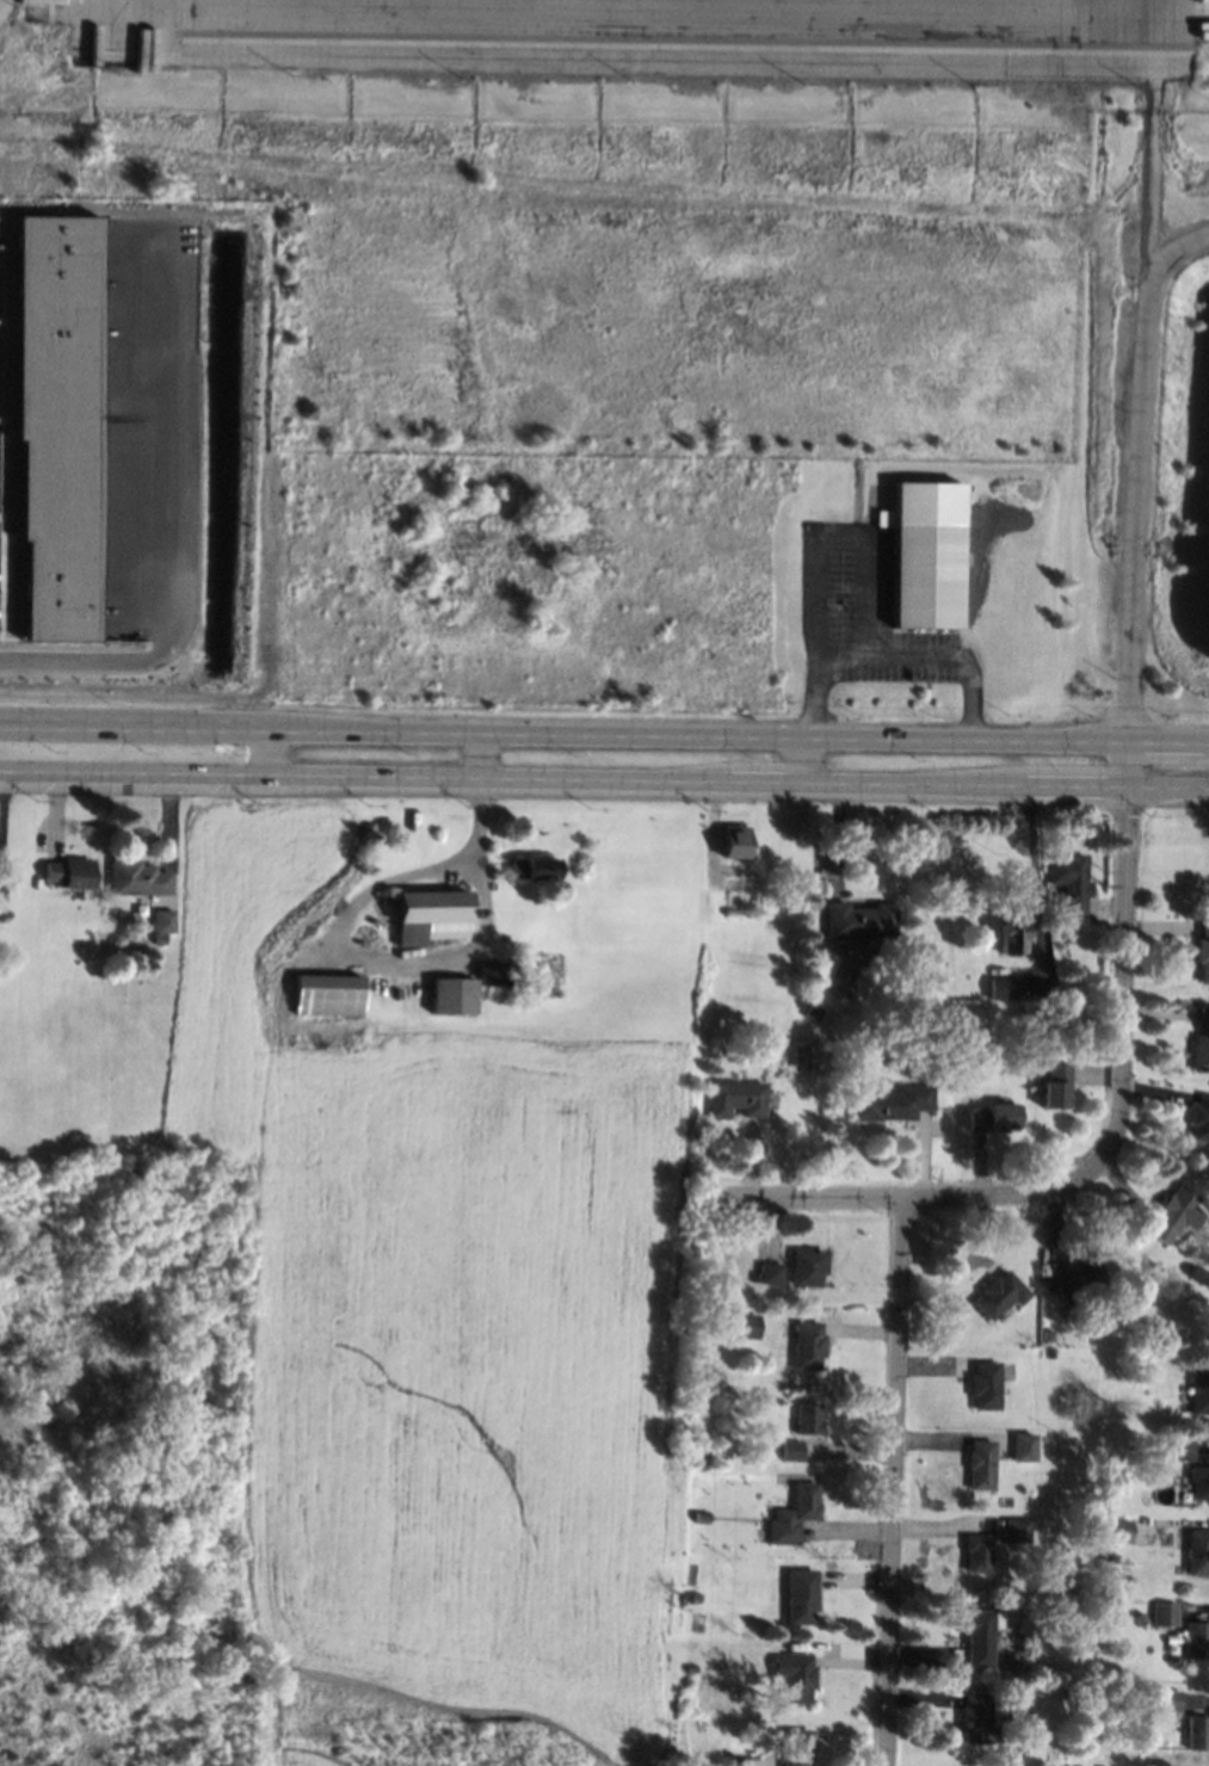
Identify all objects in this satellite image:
building: (60, 12)
road: (1164, 257)
road: (1134, 368)
building: (54, 420)
road: (171, 519)
road: (832, 525)
building: (925, 575)
road: (864, 654)
road: (604, 730)
road: (267, 754)
road: (485, 757)
road: (604, 786)
building: (733, 840)
building: (531, 866)
building: (68, 871)
building: (135, 877)
building: (1068, 879)
building: (734, 883)
building: (428, 915)
building: (161, 920)
building: (859, 920)
building: (1010, 931)
building: (1056, 944)
building: (1202, 950)
road: (347, 955)
building: (494, 972)
building: (1007, 984)
road: (1123, 988)
building: (326, 994)
building: (451, 994)
building: (1071, 1012)
building: (804, 1021)
building: (834, 1042)
building: (1199, 1042)
building: (1054, 1085)
building: (736, 1097)
building: (889, 1103)
building: (993, 1117)
building: (1199, 1118)
road: (876, 1193)
building: (1173, 1214)
building: (806, 1265)
building: (770, 1272)
building: (1197, 1272)
building: (1078, 1278)
building: (998, 1292)
crop: (452, 1320)
building: (747, 1324)
building: (1047, 1334)
building: (807, 1344)
building: (982, 1384)
building: (1198, 1388)
building: (807, 1418)
building: (1022, 1443)
building: (1182, 1445)
building: (789, 1449)
building: (1166, 1451)
building: (702, 1453)
building: (979, 1463)
road: (894, 1480)
building: (1198, 1481)
building: (790, 1514)
building: (701, 1515)
building: (1104, 1525)
building: (1118, 1530)
building: (1014, 1533)
building: (1197, 1551)
building: (975, 1552)
building: (800, 1594)
building: (693, 1595)
building: (1164, 1613)
building: (1145, 1618)
building: (979, 1634)
building: (1197, 1638)
building: (1174, 1660)
building: (690, 1668)
building: (794, 1674)
building: (969, 1682)
building: (1072, 1693)
building: (1164, 1699)
building: (973, 1718)
building: (1197, 1731)
building: (795, 1746)
building: (750, 1761)

